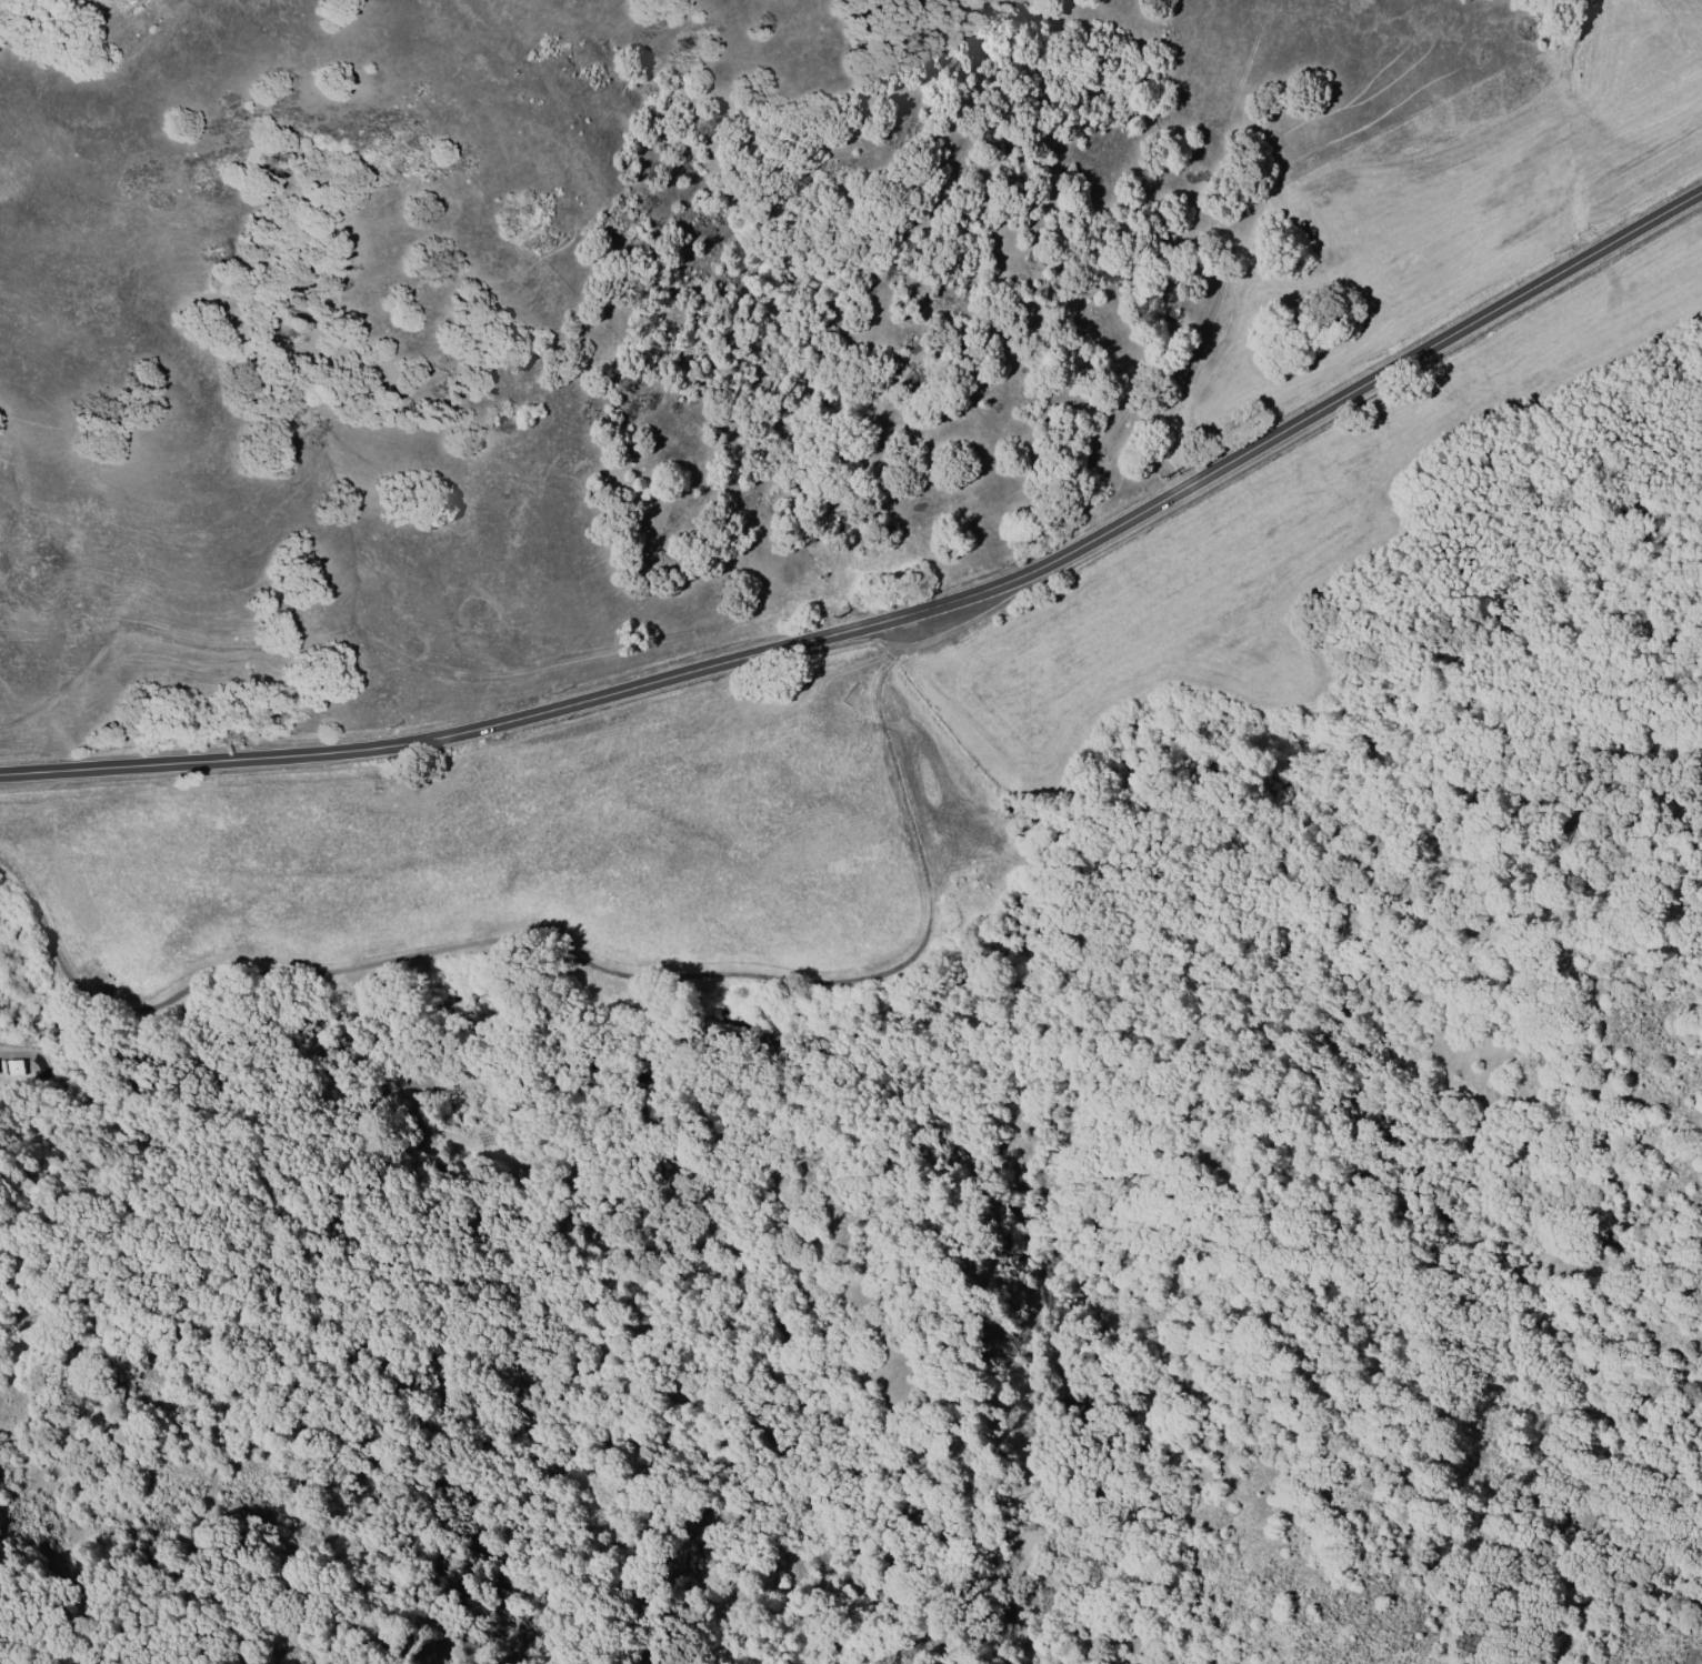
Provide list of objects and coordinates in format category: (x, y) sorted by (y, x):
crop: (885, 545)
road: (895, 617)
road: (577, 959)
river: (927, 1019)
building: (12, 1066)
park: (995, 1143)

